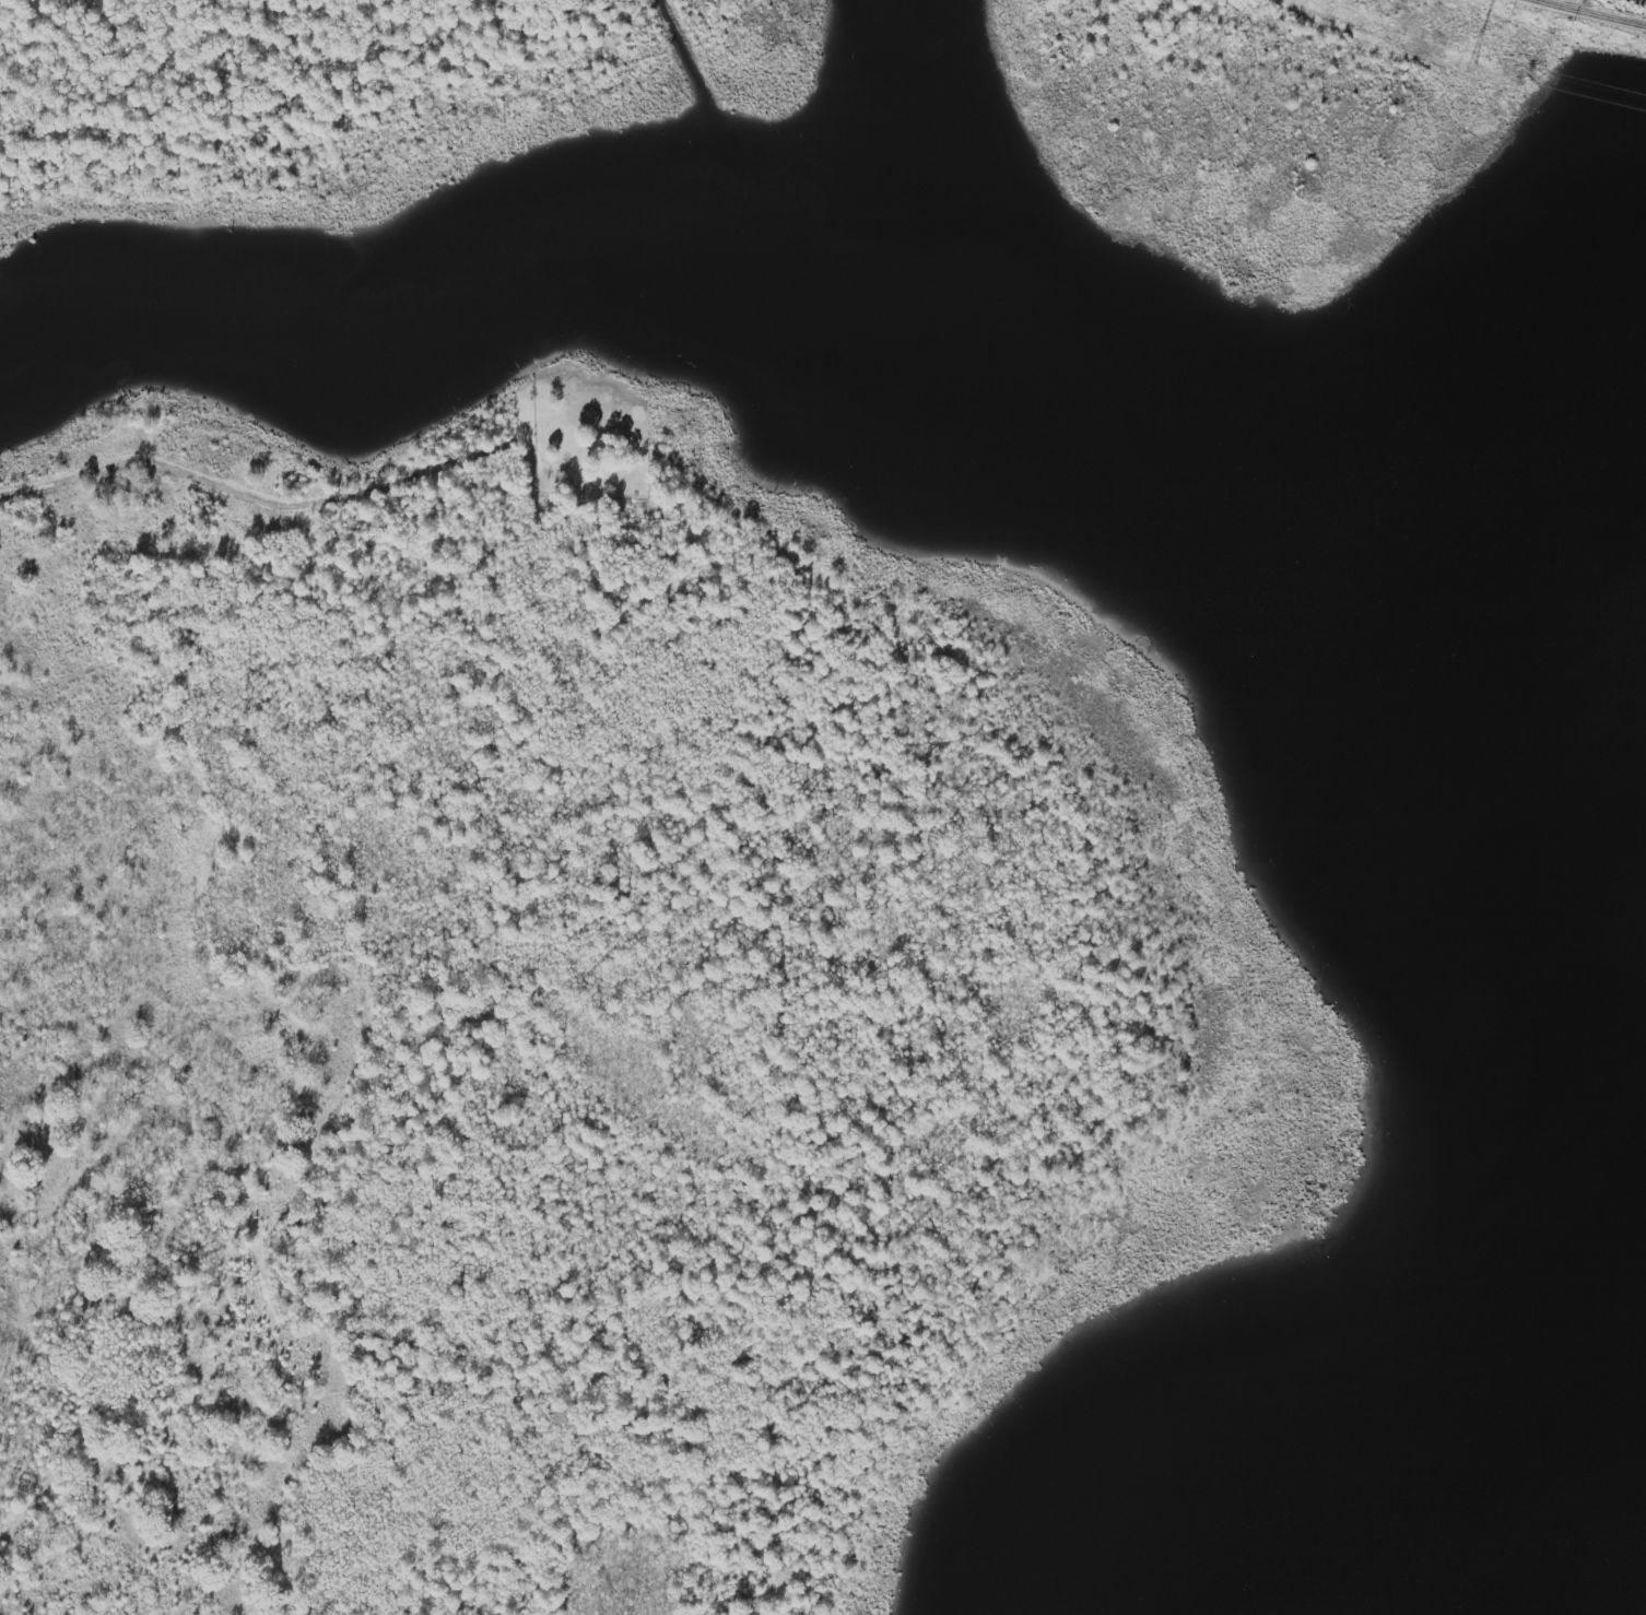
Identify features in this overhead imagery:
railway: (1589, 13)
power tower: (1471, 62)

